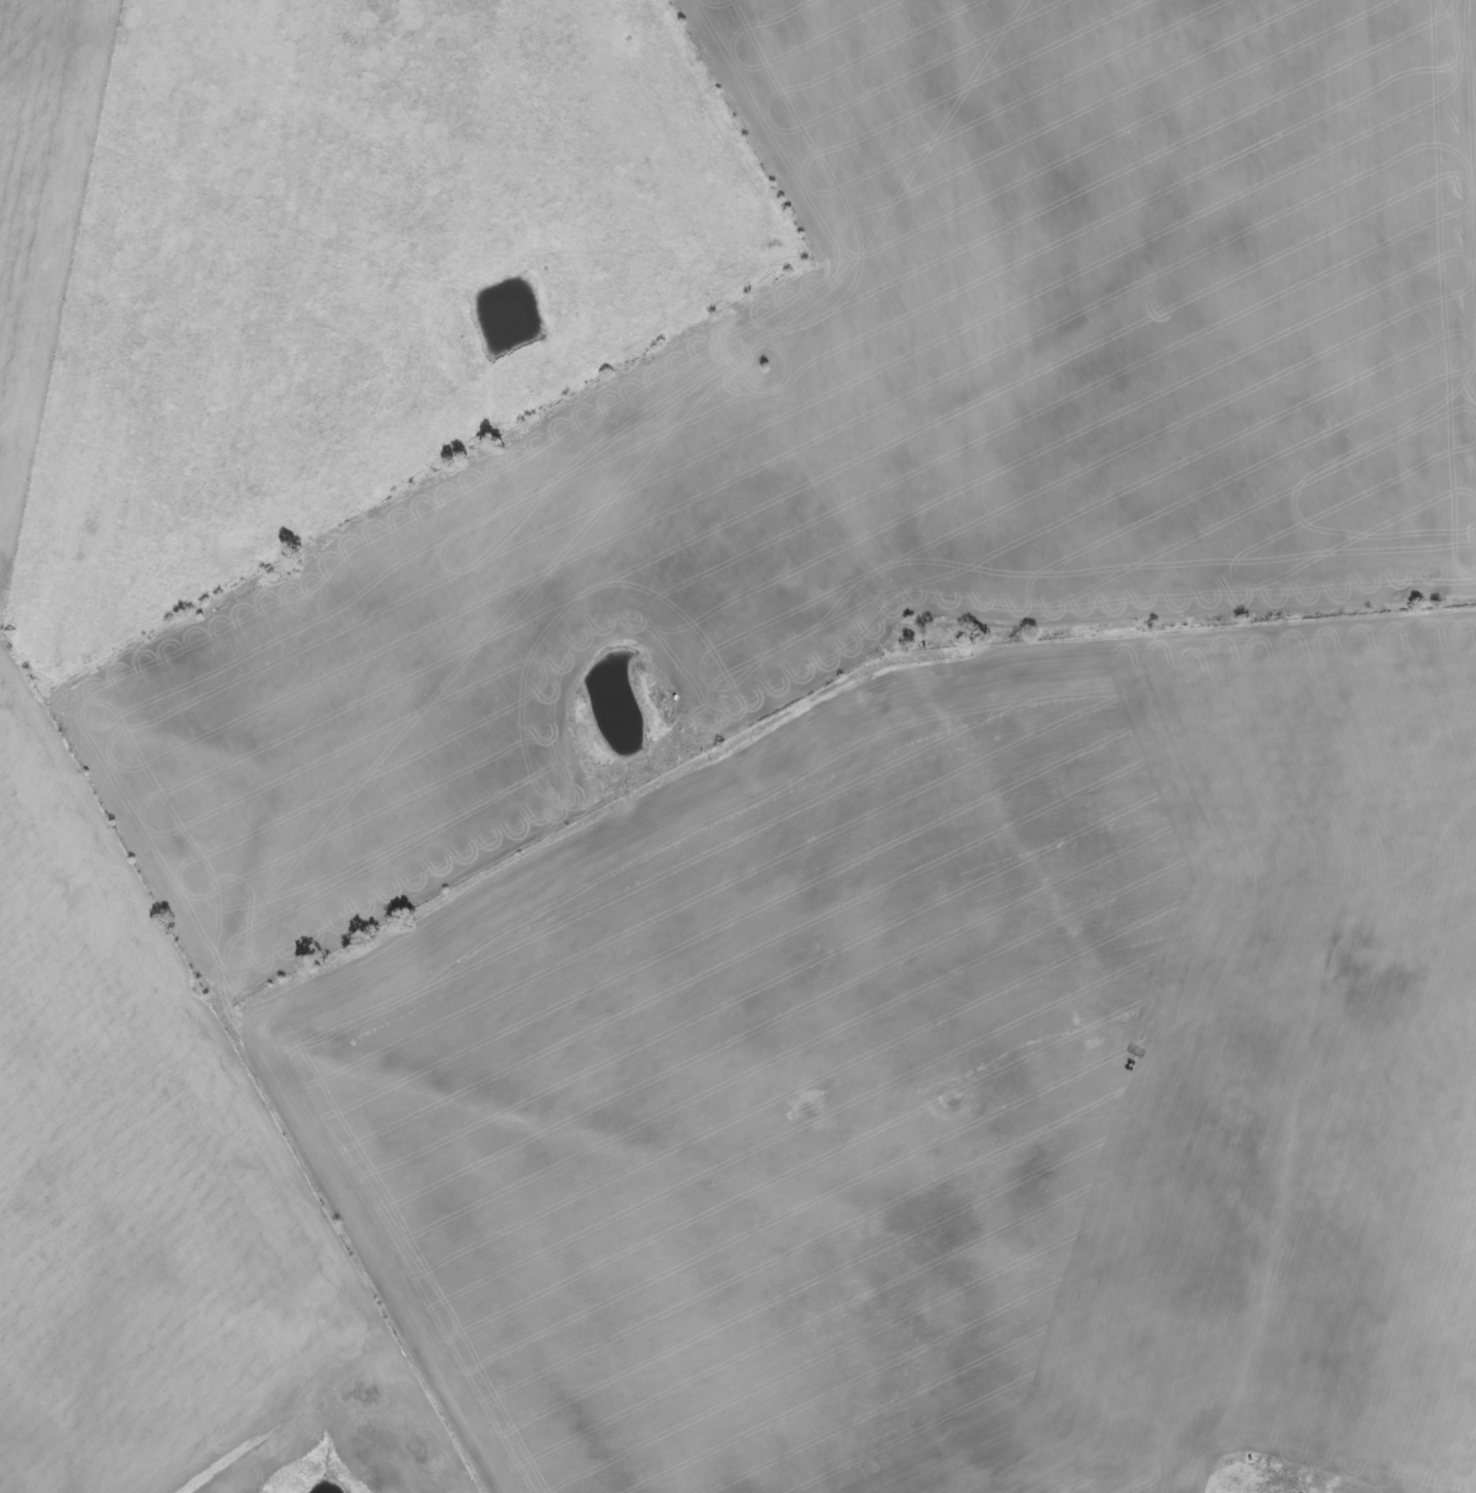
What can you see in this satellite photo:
road: (1421, 664)

